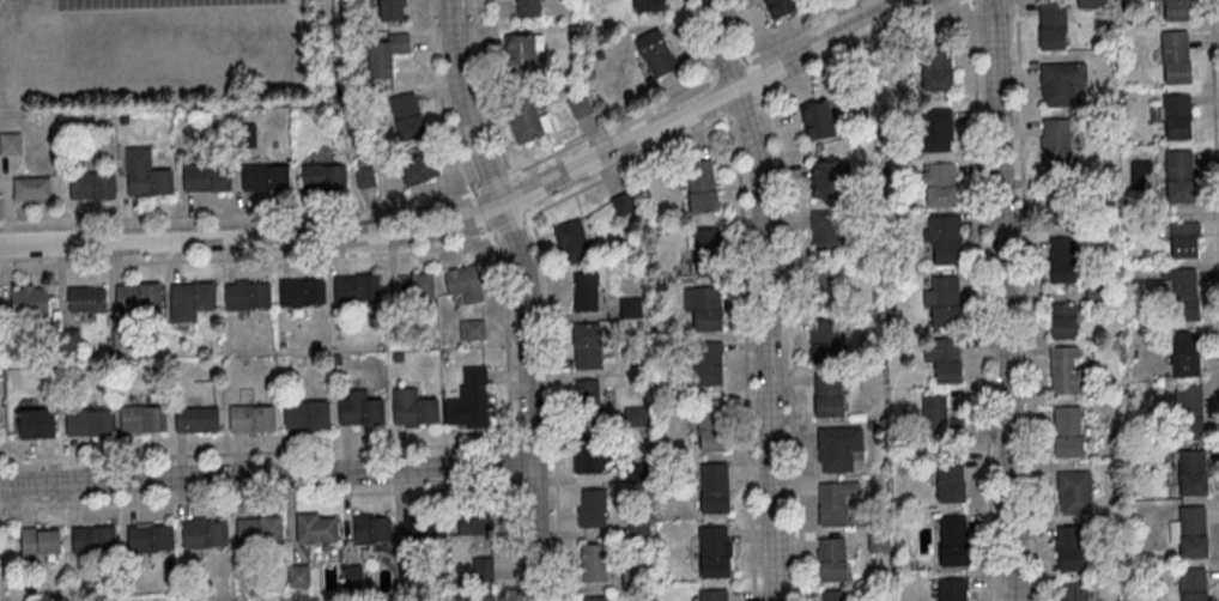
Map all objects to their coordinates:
building: (1092, 4)
building: (645, 5)
building: (776, 6)
building: (524, 7)
building: (392, 10)
building: (1177, 10)
building: (1054, 24)
road: (691, 38)
road: (741, 49)
building: (653, 51)
building: (382, 53)
building: (517, 53)
building: (1176, 55)
building: (938, 66)
building: (1059, 81)
road: (479, 89)
building: (576, 104)
building: (402, 115)
building: (1177, 116)
road: (442, 120)
building: (521, 120)
building: (813, 120)
building: (935, 128)
building: (10, 142)
building: (1053, 144)
road: (1213, 160)
building: (418, 168)
building: (146, 174)
building: (365, 174)
building: (1179, 175)
building: (202, 176)
building: (261, 176)
building: (320, 177)
building: (821, 178)
building: (940, 184)
building: (92, 186)
building: (701, 186)
building: (32, 189)
building: (619, 202)
road: (545, 204)
building: (1062, 204)
road: (478, 211)
road: (480, 221)
building: (825, 230)
building: (940, 237)
building: (1184, 239)
building: (571, 241)
building: (703, 250)
building: (1060, 260)
building: (460, 281)
building: (819, 285)
building: (412, 286)
building: (356, 287)
building: (302, 291)
building: (582, 291)
building: (134, 295)
building: (247, 295)
road: (524, 295)
building: (1093, 295)
building: (1184, 295)
building: (189, 296)
road: (763, 296)
building: (84, 298)
building: (946, 299)
road: (980, 299)
road: (1001, 299)
road: (1023, 299)
building: (26, 303)
building: (627, 306)
building: (701, 306)
building: (1061, 320)
building: (469, 329)
building: (390, 332)
road: (504, 336)
building: (825, 341)
building: (583, 345)
road: (787, 347)
building: (1182, 353)
road: (742, 358)
building: (940, 358)
building: (706, 362)
building: (1063, 371)
building: (583, 395)
building: (830, 395)
building: (471, 397)
road: (550, 406)
building: (357, 407)
building: (410, 407)
building: (1184, 411)
building: (307, 413)
building: (631, 415)
building: (251, 417)
building: (936, 417)
building: (140, 418)
building: (196, 418)
building: (84, 421)
building: (32, 423)
building: (708, 425)
building: (1067, 430)
building: (835, 447)
building: (584, 453)
road: (509, 466)
building: (633, 471)
building: (1191, 472)
road: (266, 473)
building: (950, 479)
building: (714, 487)
building: (1073, 492)
building: (831, 502)
building: (588, 506)
building: (471, 520)
building: (420, 523)
building: (635, 526)
building: (311, 527)
building: (368, 528)
building: (255, 529)
building: (1191, 532)
building: (200, 534)
building: (146, 536)
building: (90, 538)
building: (874, 540)
building: (953, 540)
building: (35, 542)
road: (511, 544)
building: (1071, 547)
building: (712, 551)
building: (831, 558)
building: (590, 561)
building: (479, 567)
building: (406, 571)
building: (296, 575)
building: (350, 575)
building: (630, 578)
building: (1193, 583)
building: (953, 589)
building: (1074, 590)
building: (475, 594)
building: (714, 595)
building: (835, 595)
building: (592, 599)

